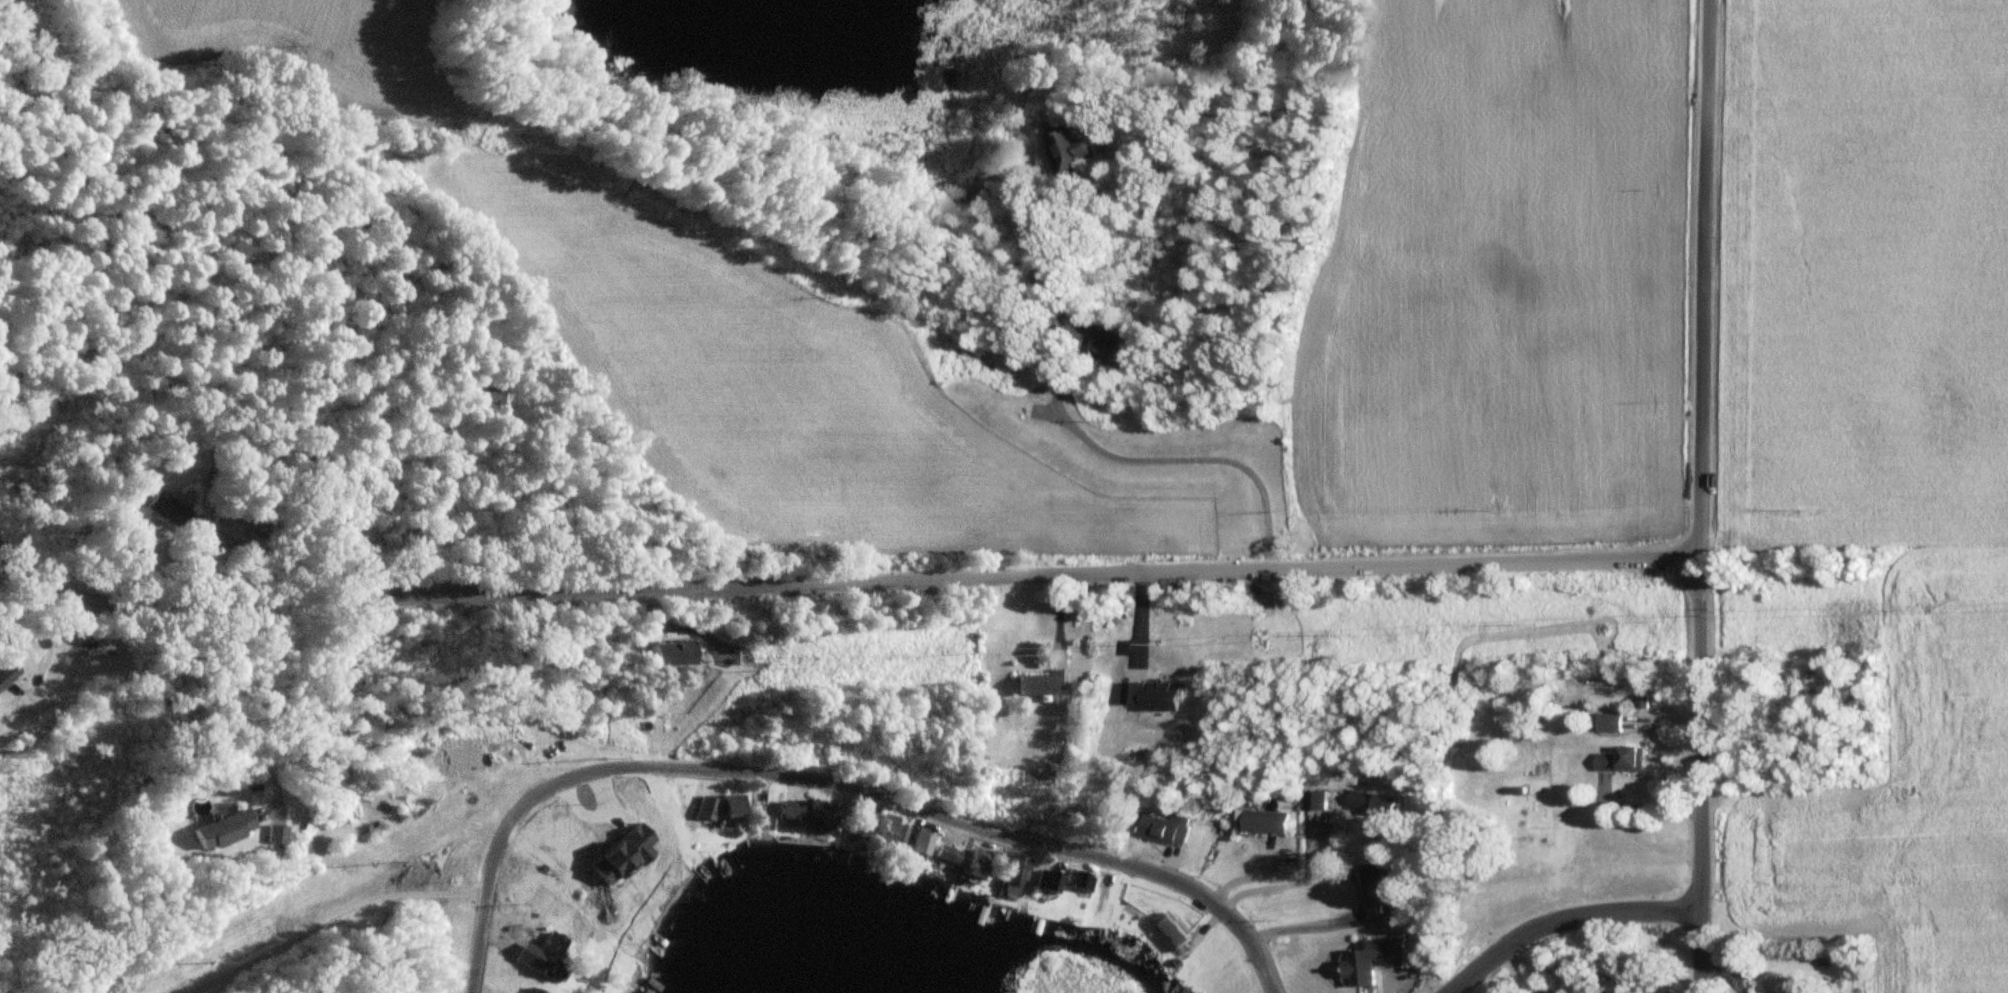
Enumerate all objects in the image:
building: (1067, 149)
building: (1104, 343)
road: (1098, 448)
road: (1702, 496)
building: (182, 521)
road: (846, 583)
road: (677, 627)
building: (666, 654)
building: (8, 679)
building: (1042, 684)
road: (35, 686)
road: (261, 702)
building: (1609, 724)
building: (1621, 761)
road: (830, 785)
building: (1370, 804)
building: (722, 808)
building: (804, 815)
building: (1263, 823)
building: (858, 826)
building: (1164, 830)
building: (225, 831)
building: (885, 833)
building: (276, 834)
building: (918, 845)
building: (945, 855)
building: (980, 865)
building: (598, 871)
road: (1291, 872)
building: (1013, 877)
building: (1078, 882)
building: (1045, 885)
building: (1374, 891)
road: (1299, 915)
road: (324, 916)
road: (1565, 921)
building: (1170, 933)
building: (540, 956)
building: (1371, 961)
building: (529, 991)

